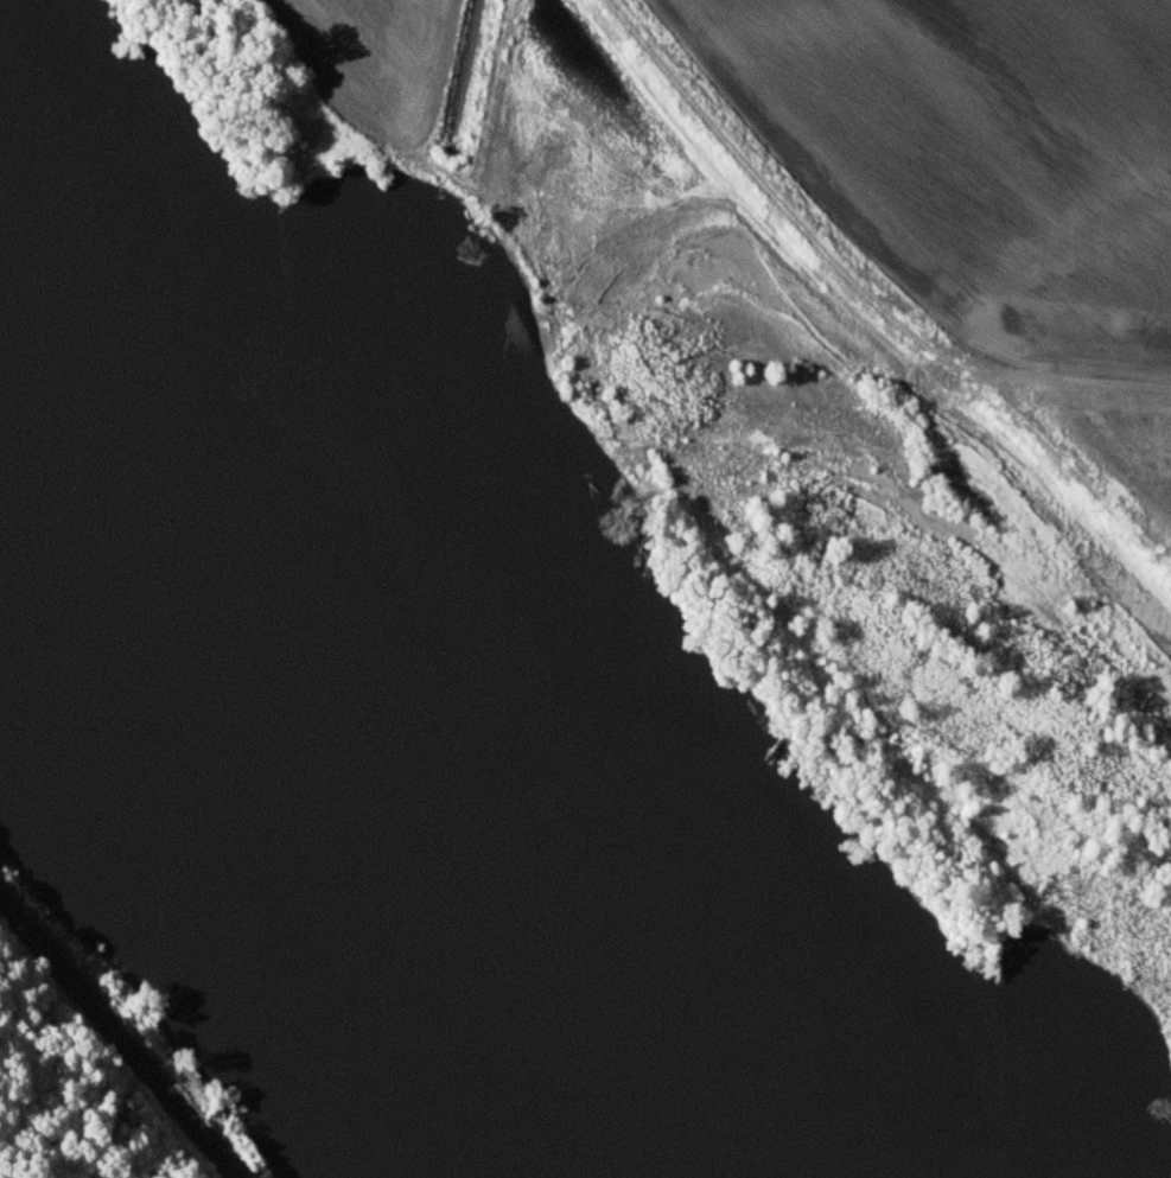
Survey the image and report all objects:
river: (27, 447)
river: (389, 828)
railway: (119, 1037)

